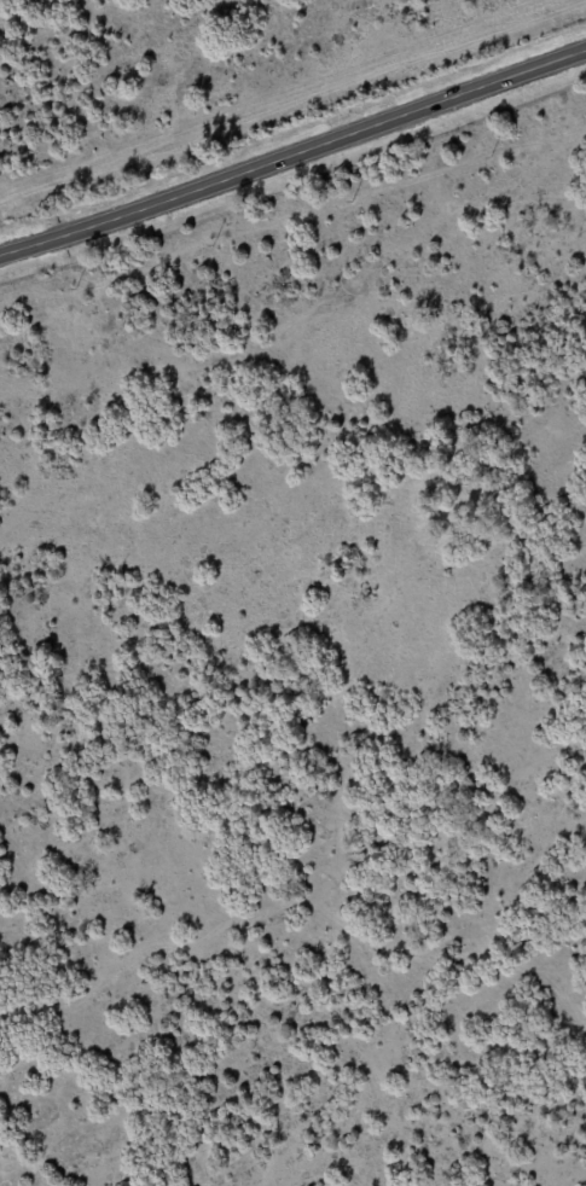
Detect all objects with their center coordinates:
road: (294, 156)

